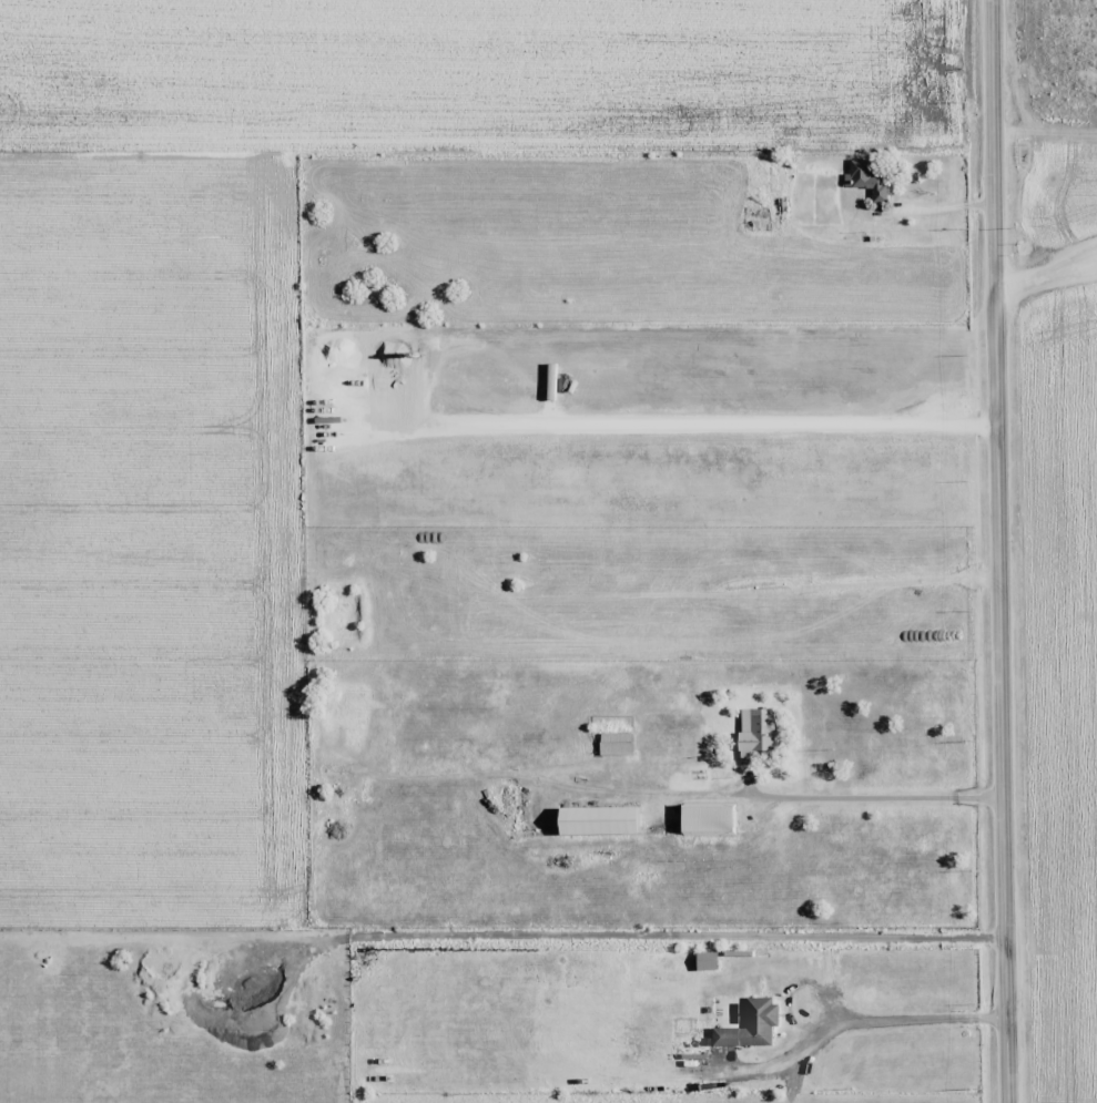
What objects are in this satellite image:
crop: (1060, 122)
building: (869, 177)
road: (1007, 551)
crop: (1063, 690)
building: (755, 729)
building: (614, 744)
building: (705, 818)
building: (597, 820)
building: (705, 961)
building: (750, 1025)

